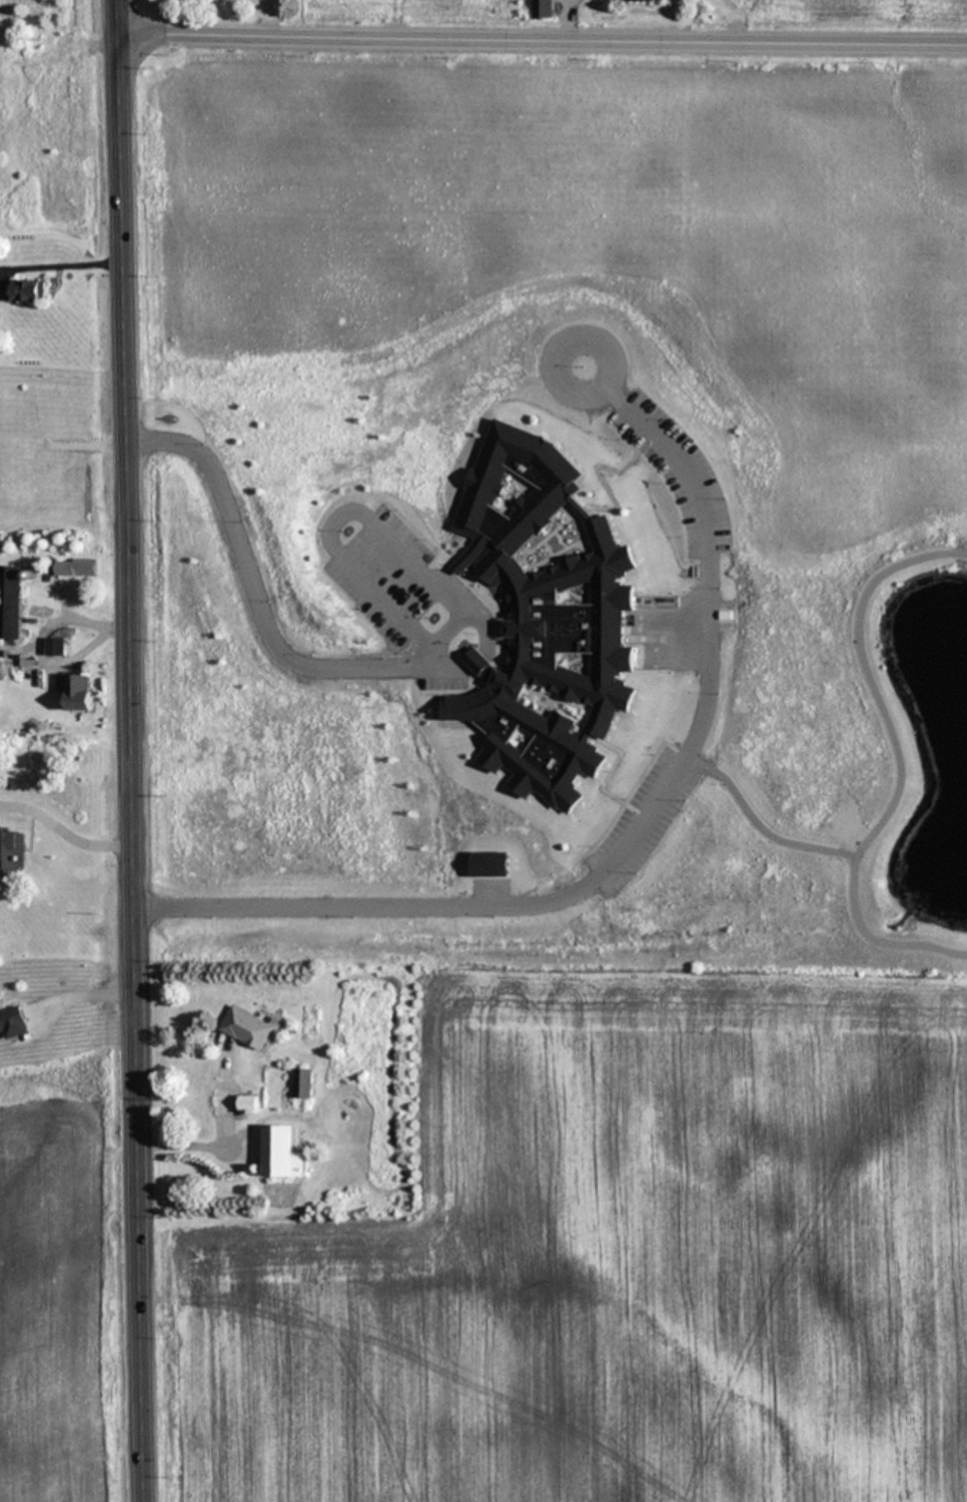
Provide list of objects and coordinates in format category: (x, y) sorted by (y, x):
building: (644, 1)
building: (542, 9)
road: (542, 43)
building: (27, 290)
building: (495, 466)
building: (74, 567)
parking lot: (414, 576)
building: (63, 588)
building: (11, 603)
road: (374, 670)
building: (560, 679)
building: (77, 692)
road: (133, 750)
road: (681, 767)
building: (11, 848)
road: (83, 993)
building: (302, 1083)
building: (210, 1087)
building: (248, 1103)
building: (281, 1153)
crop: (75, 1233)
crop: (606, 1262)

